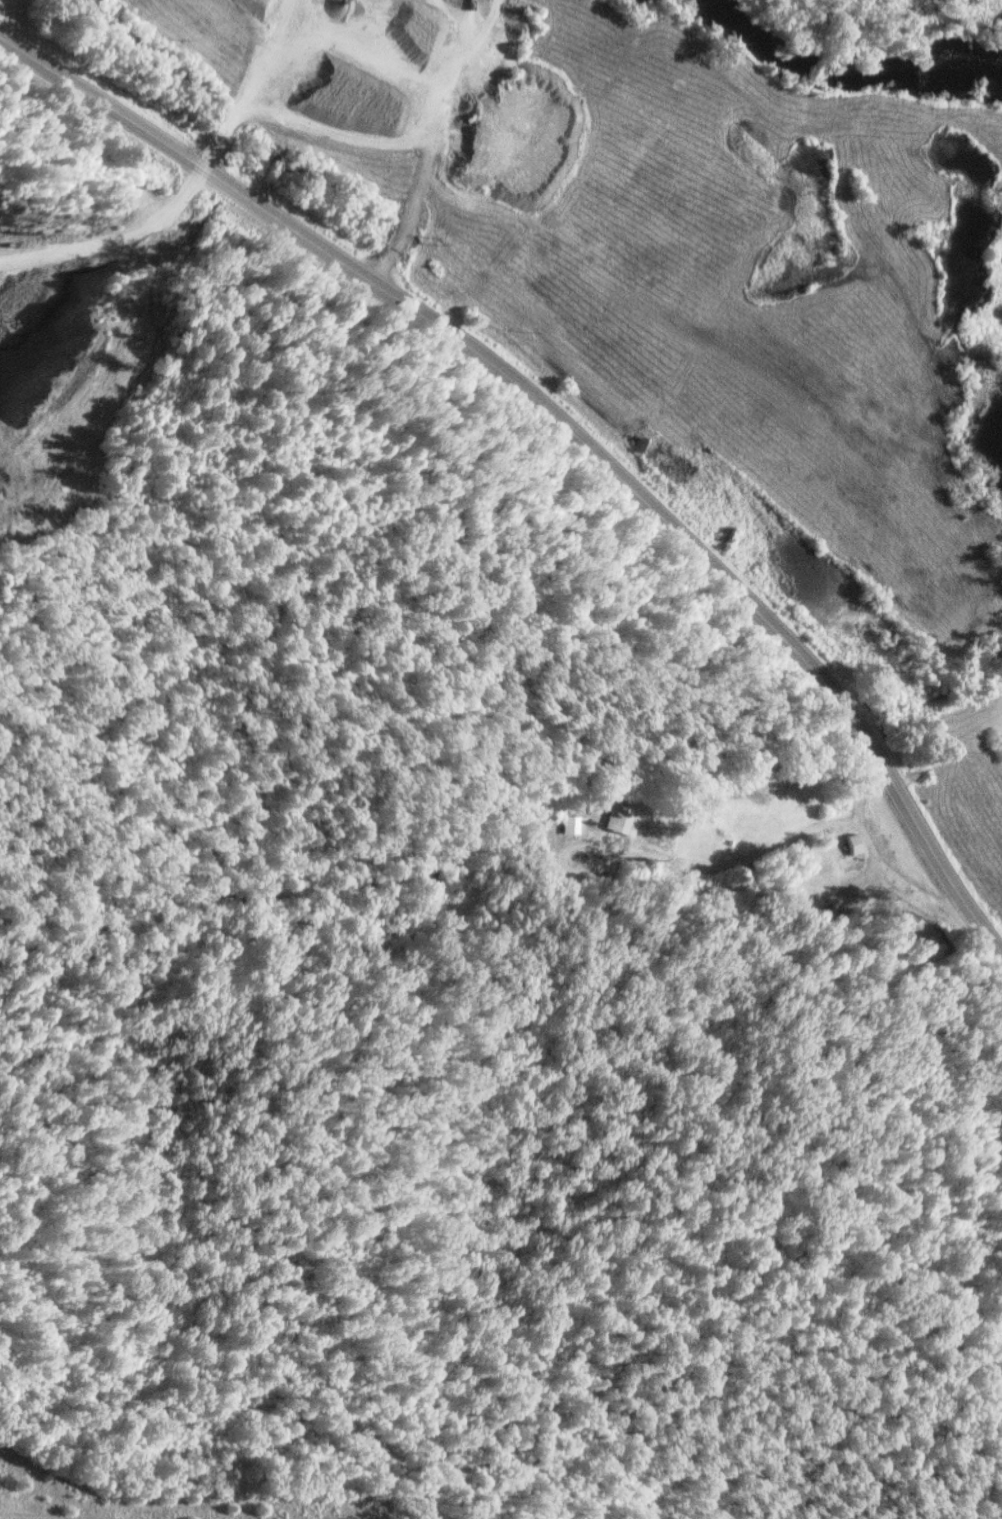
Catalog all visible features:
quarry: (73, 328)
road: (566, 424)
building: (622, 813)
building: (570, 823)
building: (853, 853)
road: (879, 855)
road: (677, 856)
building: (833, 906)
building: (919, 927)

